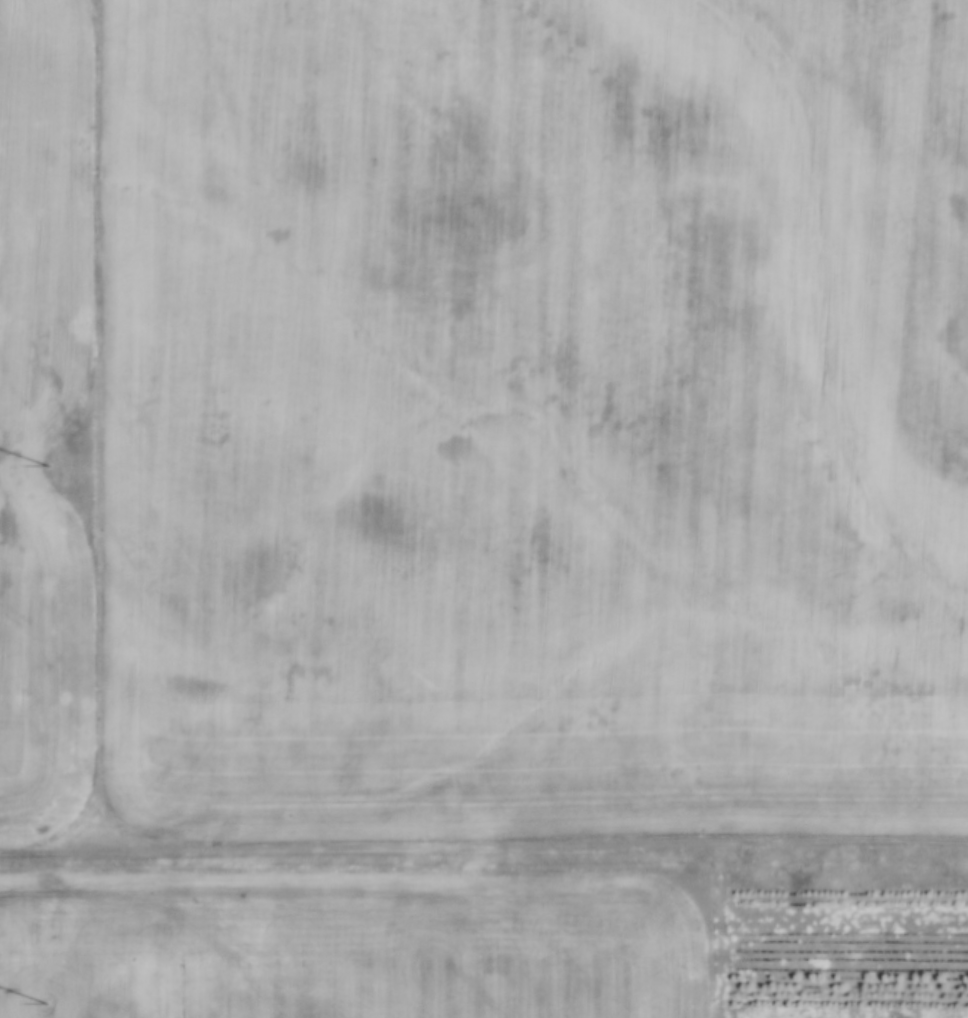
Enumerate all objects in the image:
power tower: (49, 464)
road: (483, 851)
power tower: (47, 1001)

